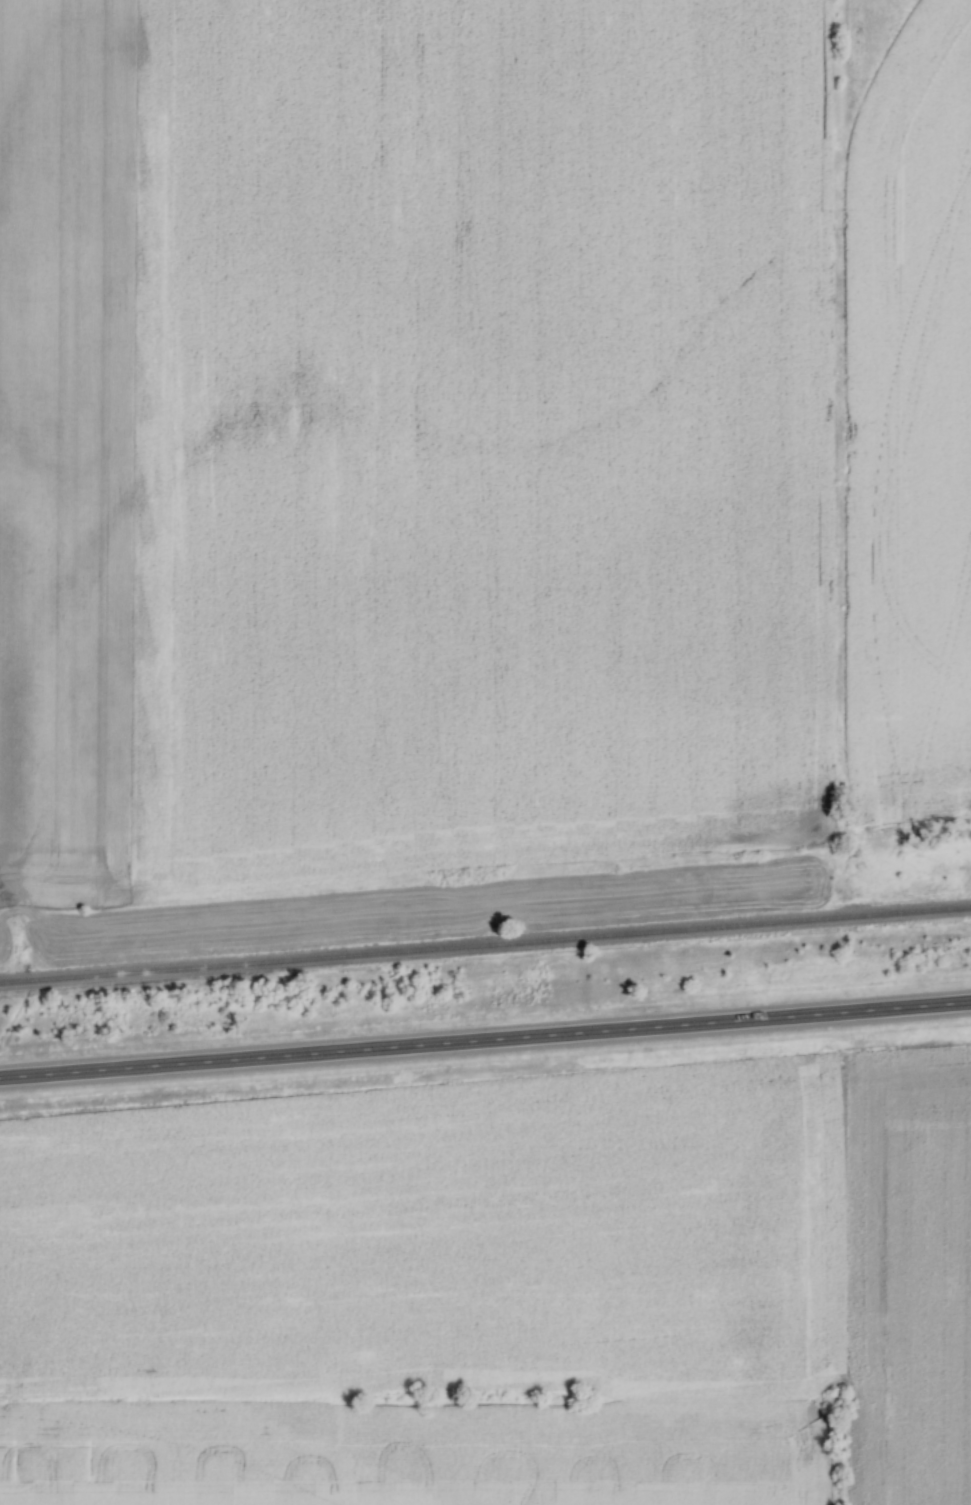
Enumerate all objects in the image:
railway: (485, 960)
road: (485, 1043)

